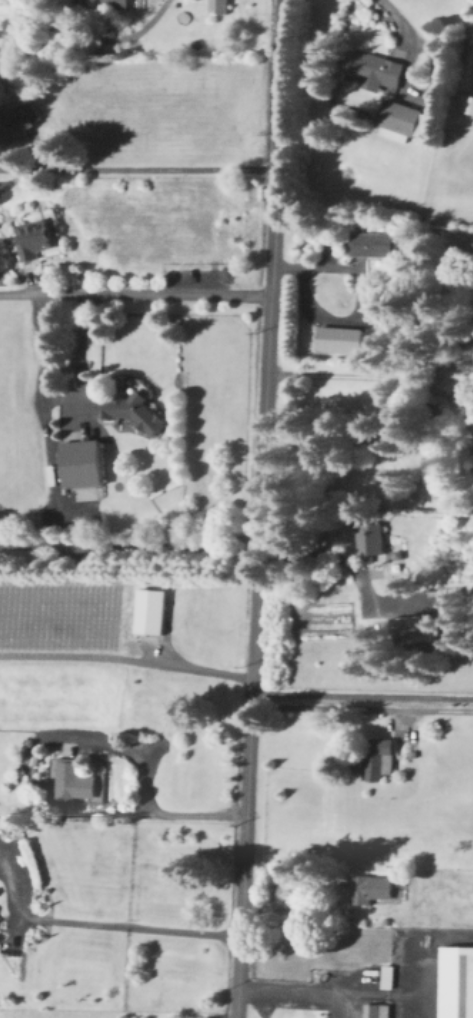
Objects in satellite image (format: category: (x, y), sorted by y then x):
building: (110, 2)
building: (218, 5)
road: (155, 17)
road: (395, 18)
building: (379, 71)
building: (468, 103)
building: (402, 120)
road: (137, 169)
building: (37, 237)
building: (376, 243)
road: (135, 294)
road: (360, 297)
building: (344, 338)
road: (374, 377)
road: (56, 396)
building: (133, 410)
building: (82, 462)
building: (48, 465)
road: (259, 509)
building: (372, 538)
road: (129, 546)
road: (346, 568)
building: (452, 595)
building: (153, 610)
building: (417, 623)
road: (125, 660)
road: (362, 696)
road: (361, 710)
building: (381, 757)
building: (74, 779)
road: (172, 817)
building: (372, 887)
road: (108, 924)
building: (389, 975)
building: (458, 980)
road: (309, 993)
road: (396, 996)
road: (254, 1005)
building: (377, 1009)

